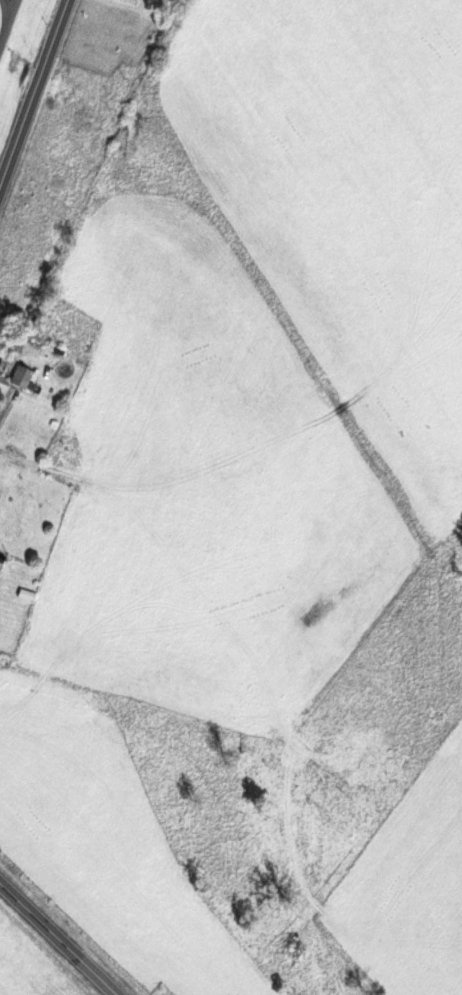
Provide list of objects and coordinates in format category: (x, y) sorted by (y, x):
road: (8, 23)
road: (36, 98)
building: (22, 377)
road: (58, 938)

